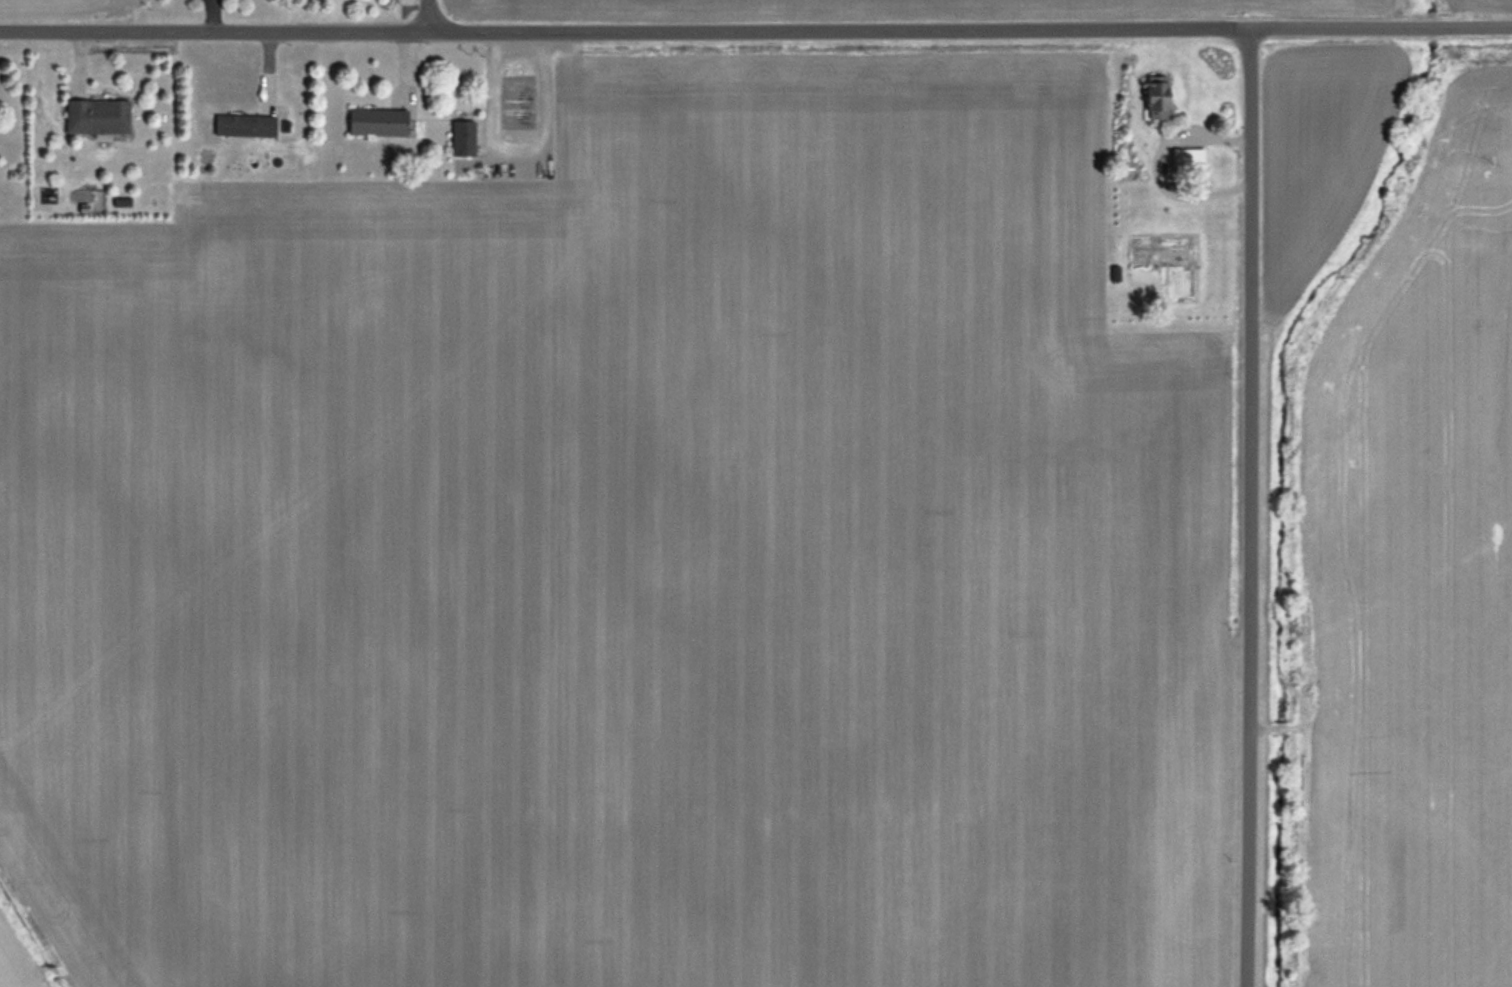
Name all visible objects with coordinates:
road: (429, 18)
road: (756, 34)
building: (1155, 98)
building: (96, 116)
building: (376, 121)
building: (244, 124)
building: (462, 138)
building: (1114, 272)
road: (1251, 509)

